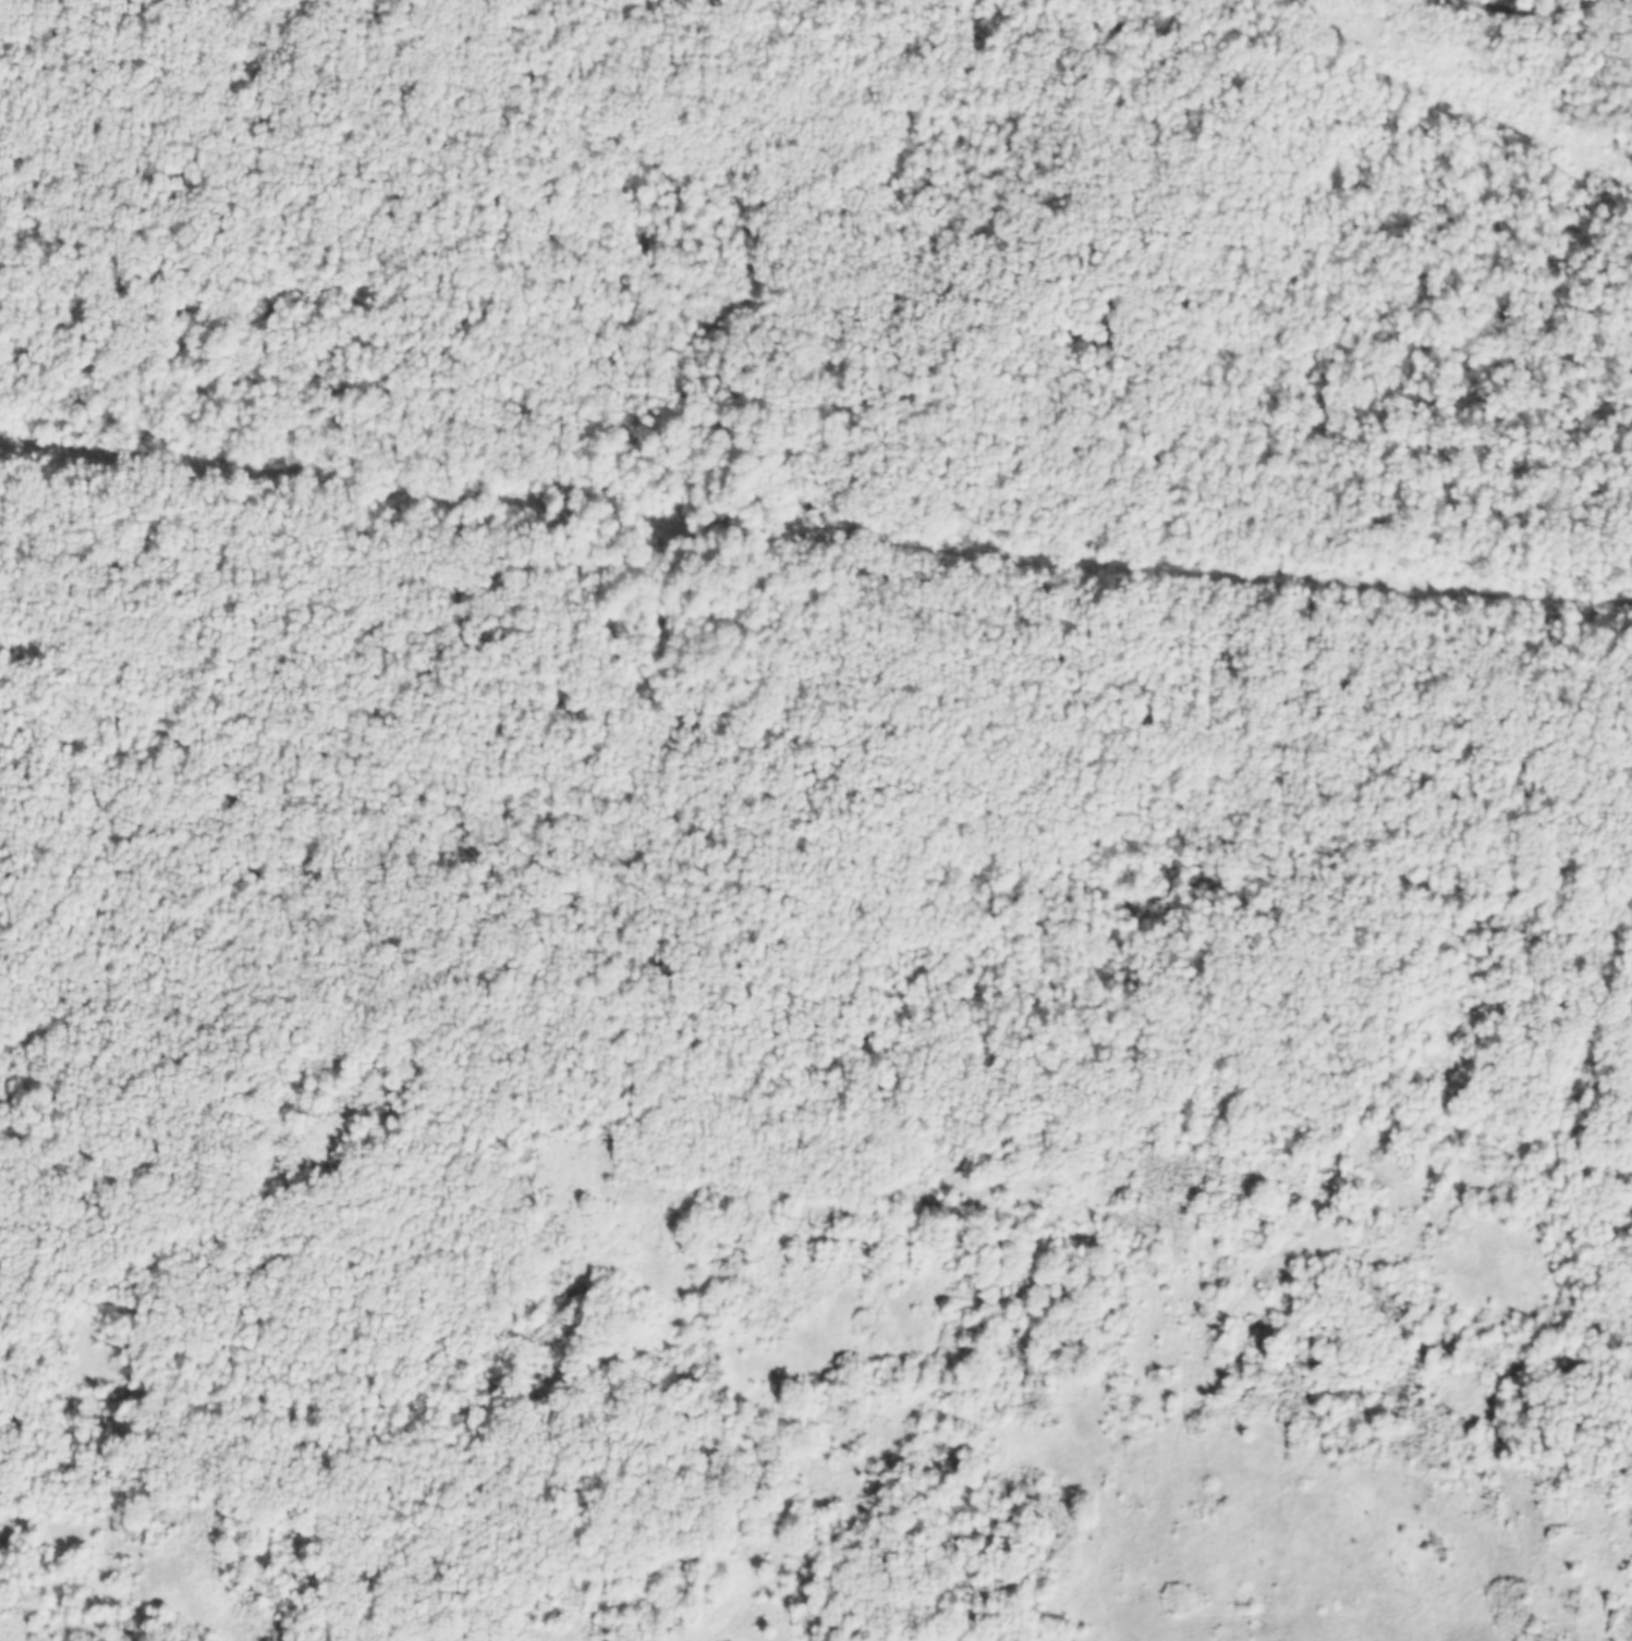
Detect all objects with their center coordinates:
road: (1551, 11)

